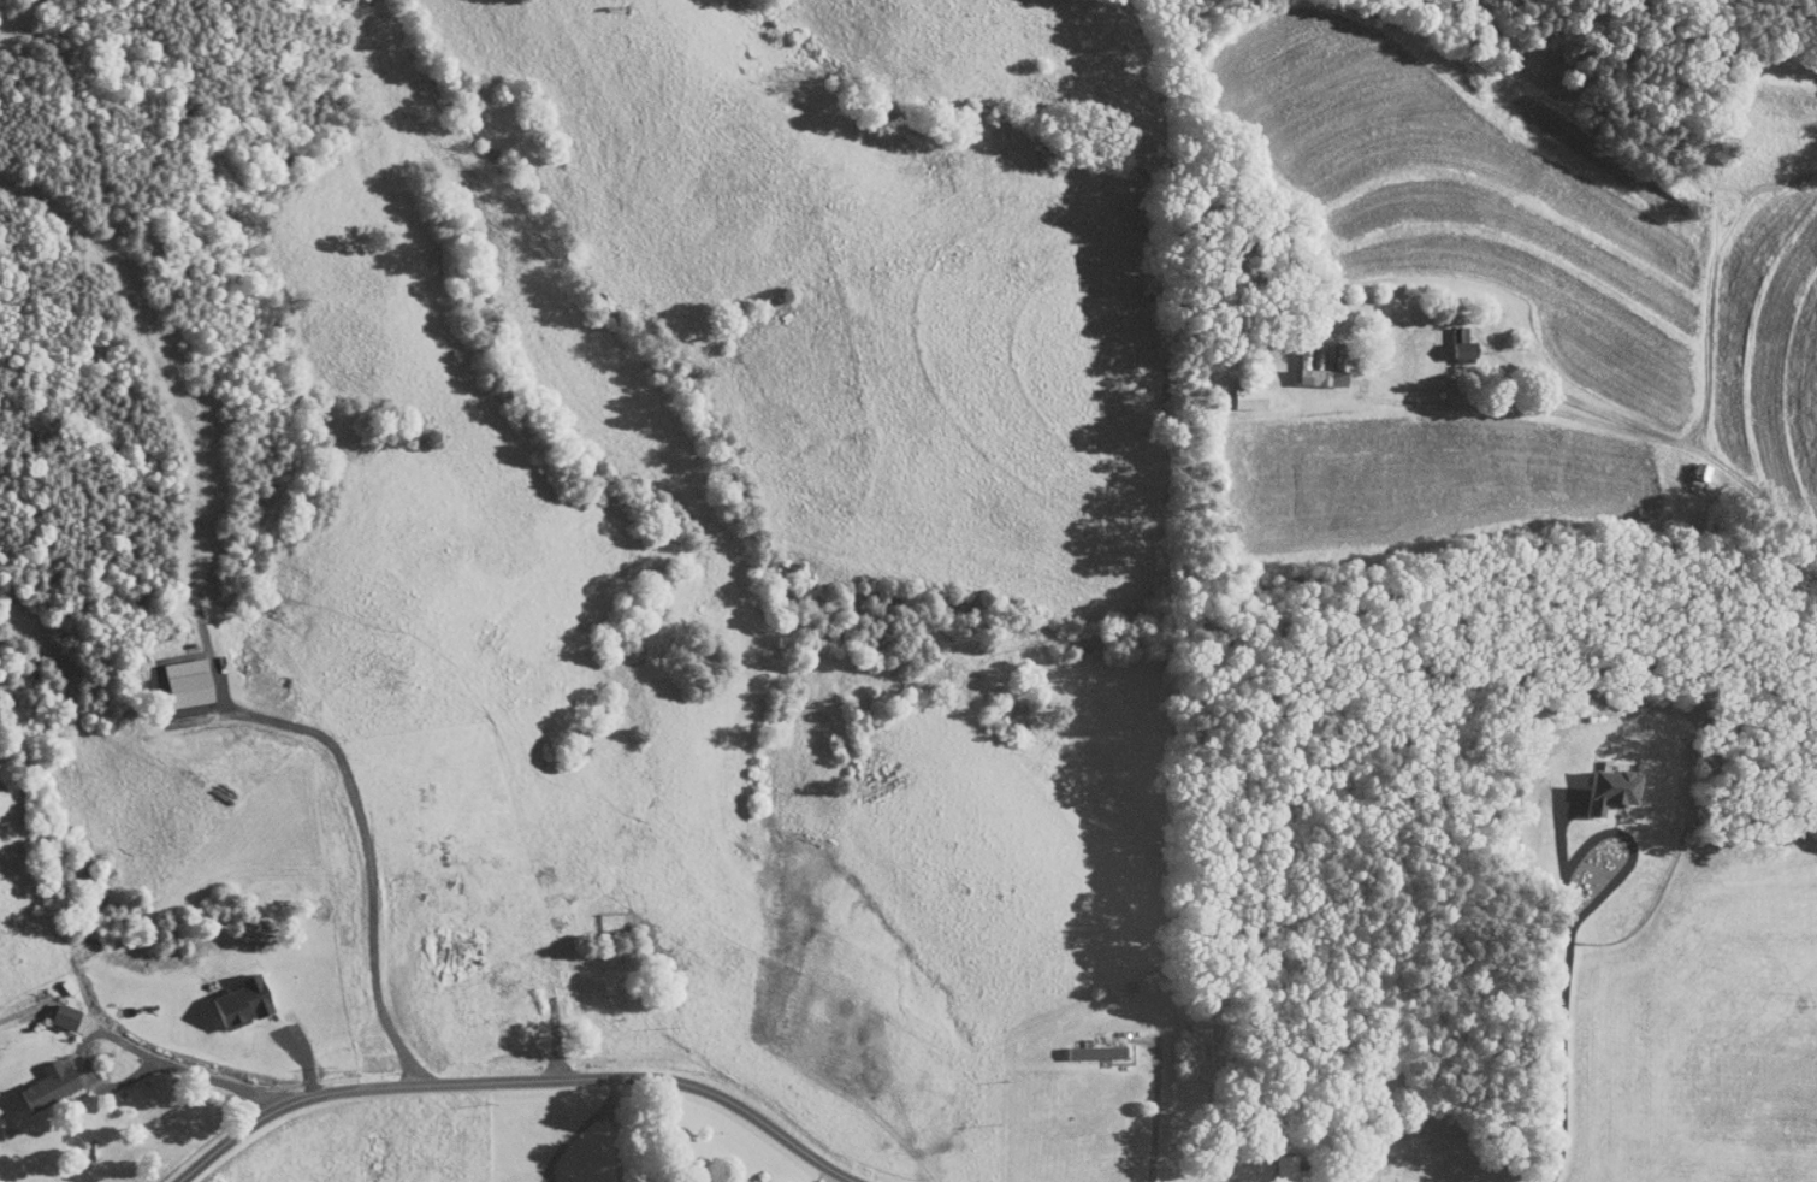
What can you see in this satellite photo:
building: (1439, 342)
building: (1316, 351)
building: (1297, 360)
building: (1230, 385)
road: (1581, 420)
building: (1586, 784)
road: (1618, 832)
building: (436, 942)
building: (57, 1009)
road: (130, 1044)
building: (1078, 1045)
road: (1563, 1057)
road: (516, 1076)
building: (41, 1078)
road: (1156, 1110)
road: (617, 1123)
building: (1267, 1164)
building: (513, 1178)
road: (835, 1180)

